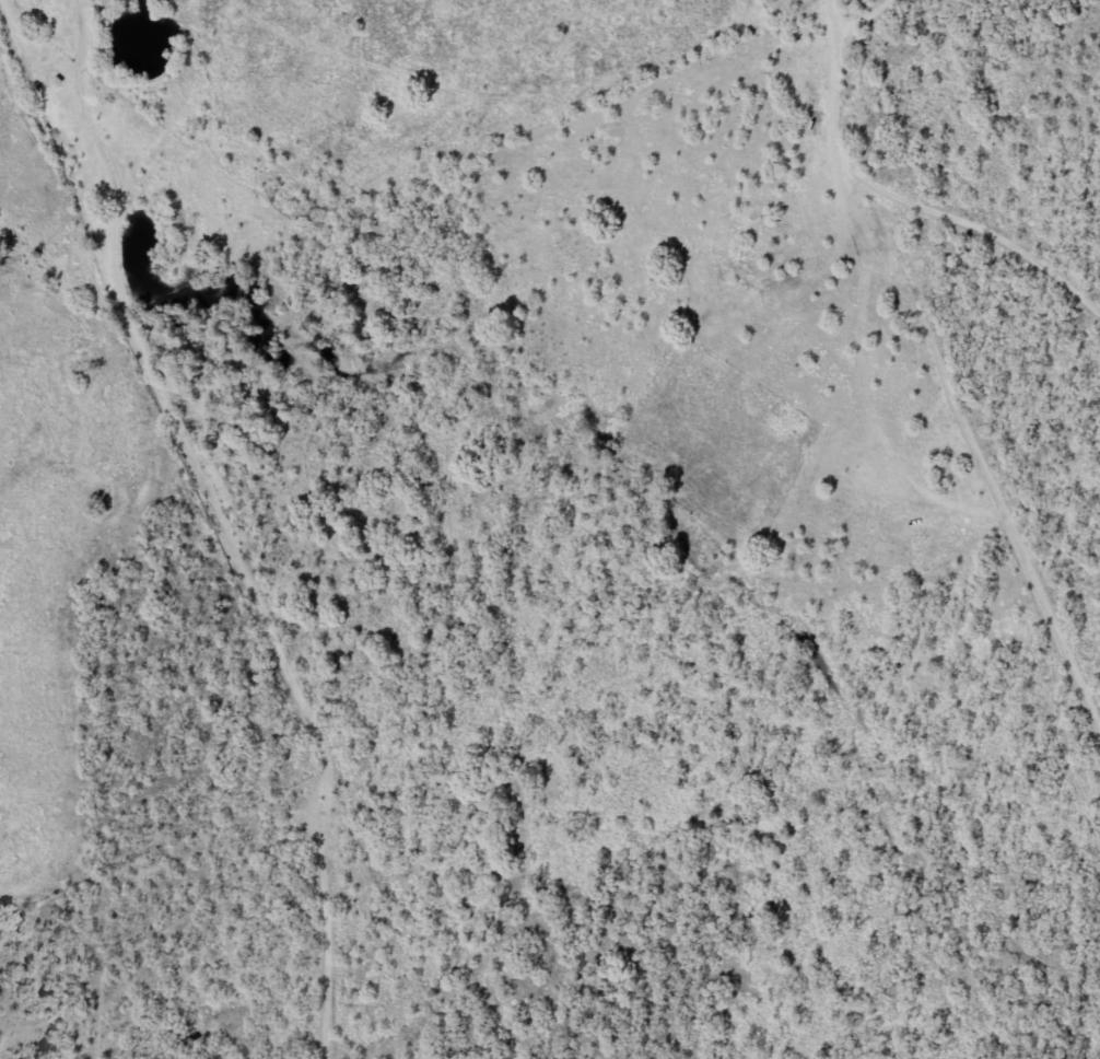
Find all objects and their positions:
road: (975, 159)
road: (262, 527)

